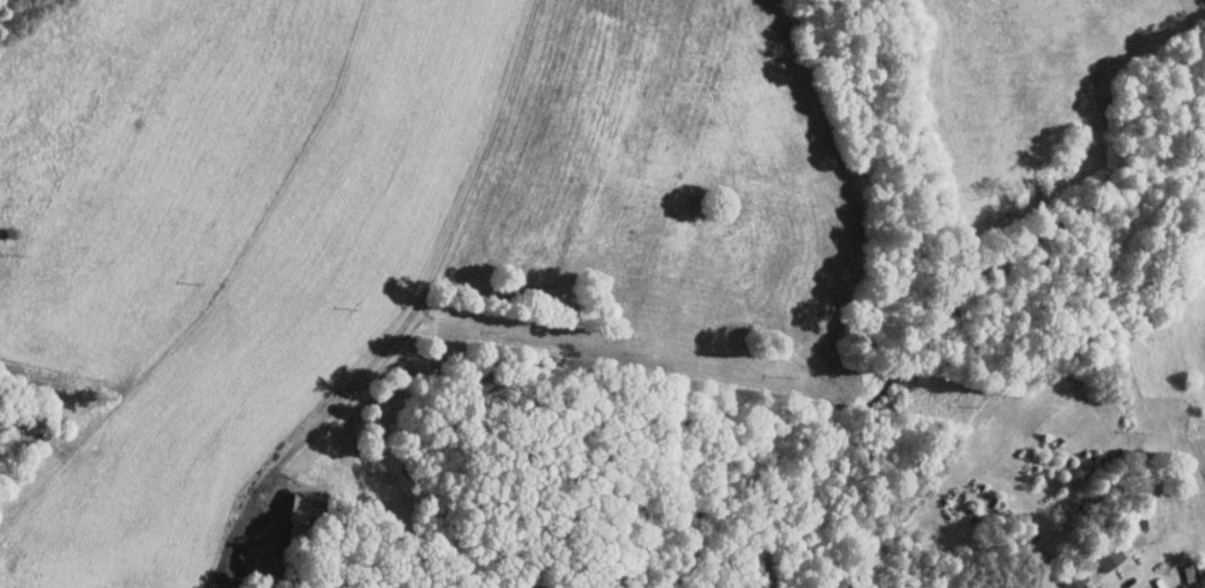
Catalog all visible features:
building: (308, 508)
building: (1107, 556)
building: (258, 559)
building: (1193, 571)
building: (1073, 582)

